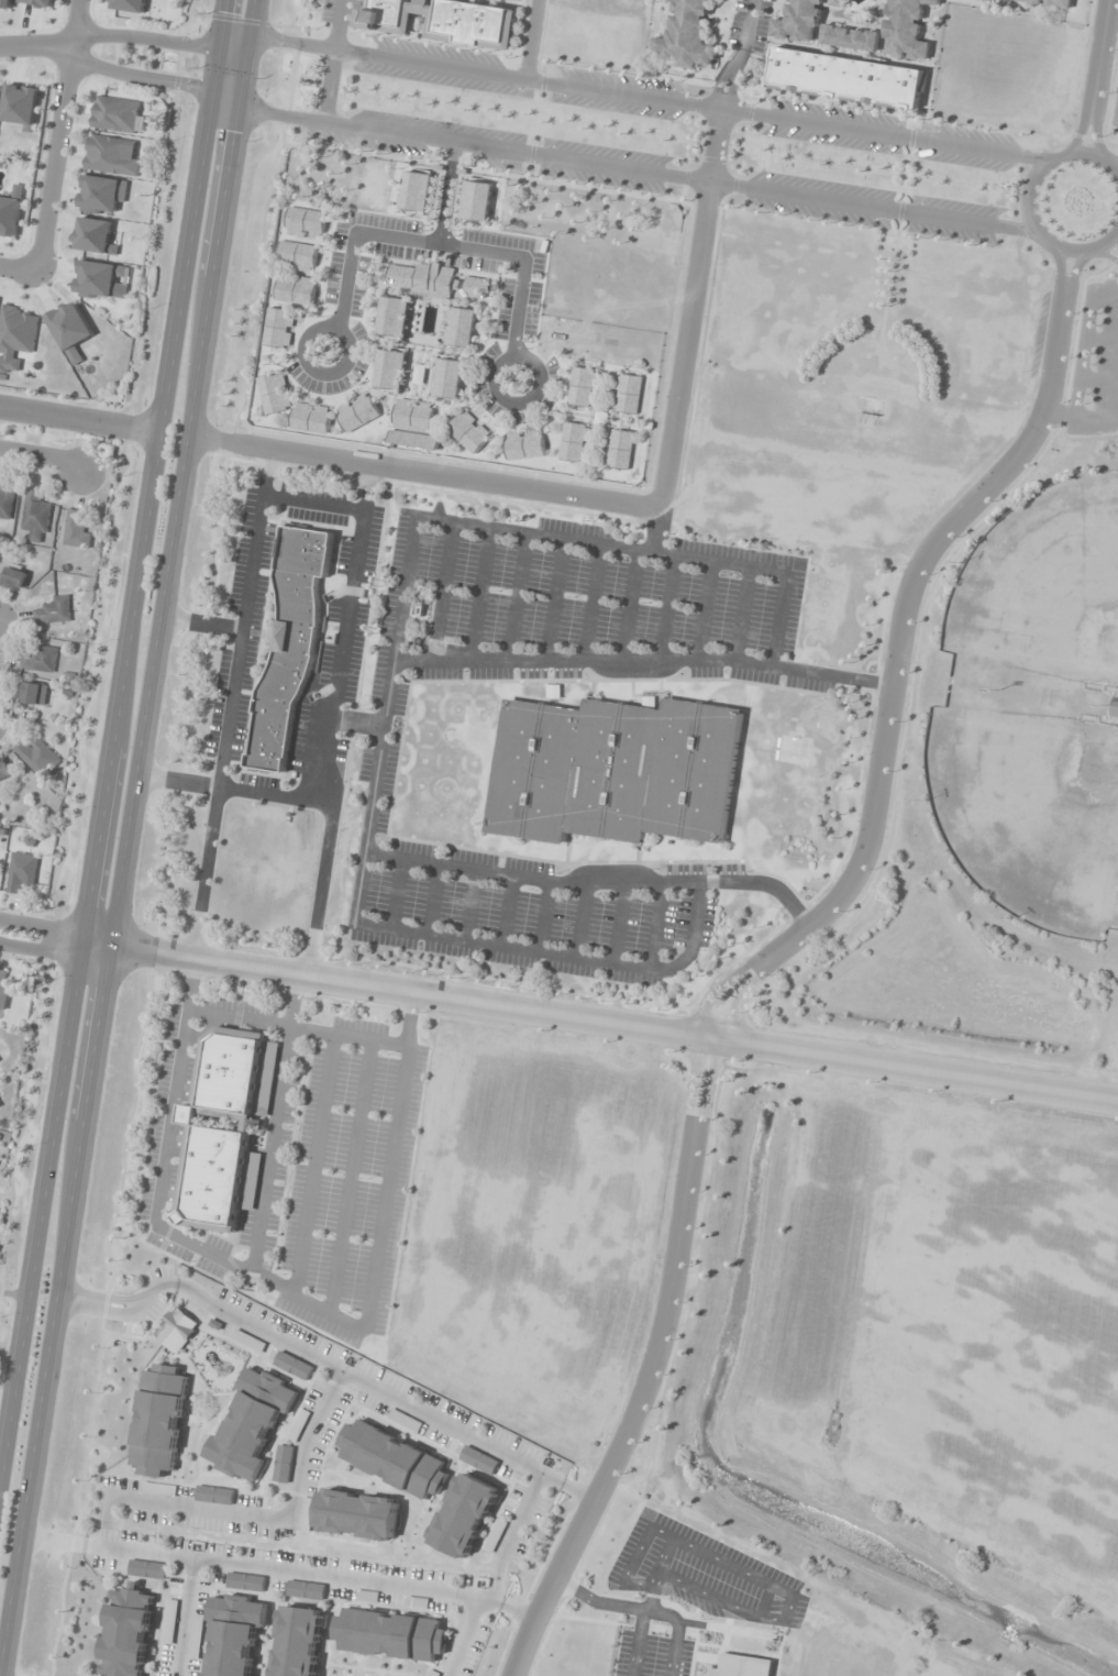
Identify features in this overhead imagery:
building: (989, 0)
building: (37, 2)
building: (1051, 3)
building: (5, 4)
building: (129, 5)
building: (447, 21)
building: (799, 22)
building: (907, 29)
building: (688, 35)
traffic signals: (247, 37)
road: (744, 37)
building: (851, 37)
road: (33, 48)
traffic signals: (222, 49)
road: (1099, 49)
building: (846, 78)
road: (556, 84)
road: (716, 89)
traffic signals: (215, 90)
road: (731, 91)
building: (20, 106)
parking lot: (1115, 107)
traffic signals: (236, 109)
building: (118, 115)
road: (1081, 125)
road: (1095, 130)
road: (55, 140)
building: (111, 156)
road: (547, 158)
park: (342, 180)
building: (413, 192)
building: (102, 195)
building: (474, 201)
road: (1027, 201)
building: (10, 213)
building: (302, 223)
building: (92, 235)
parking lot: (492, 240)
building: (296, 257)
parking lot: (474, 263)
road: (10, 268)
parking lot: (333, 269)
park: (595, 273)
road: (1062, 273)
road: (1072, 274)
building: (98, 278)
building: (432, 279)
building: (294, 289)
road: (519, 289)
parking lot: (530, 296)
parking lot: (501, 309)
road: (337, 310)
building: (391, 317)
building: (458, 327)
building: (276, 328)
building: (69, 329)
building: (16, 337)
parking lot: (485, 357)
parking lot: (1095, 365)
building: (386, 370)
building: (419, 374)
building: (445, 377)
building: (579, 386)
building: (273, 392)
building: (623, 392)
parking lot: (484, 398)
building: (355, 411)
building: (310, 418)
road: (79, 421)
building: (414, 422)
building: (466, 431)
building: (522, 443)
building: (574, 443)
building: (615, 448)
road: (43, 454)
building: (5, 503)
road: (619, 504)
building: (36, 517)
building: (77, 529)
building: (14, 576)
park: (1044, 585)
building: (53, 610)
building: (289, 646)
building: (40, 660)
building: (34, 694)
building: (1115, 708)
road: (115, 736)
building: (38, 758)
building: (4, 771)
building: (615, 771)
park: (1028, 812)
road: (125, 833)
building: (22, 871)
road: (73, 930)
road: (756, 966)
building: (1, 990)
road: (557, 1012)
building: (223, 1129)
road: (147, 1297)
building: (176, 1331)
building: (248, 1342)
building: (292, 1366)
road: (369, 1388)
building: (159, 1421)
building: (403, 1421)
building: (251, 1425)
building: (297, 1425)
building: (394, 1459)
building: (478, 1460)
building: (283, 1464)
building: (158, 1489)
building: (214, 1496)
building: (357, 1515)
building: (464, 1515)
road: (274, 1519)
building: (494, 1535)
road: (508, 1537)
building: (147, 1569)
road: (278, 1569)
building: (245, 1583)
building: (305, 1590)
building: (366, 1597)
building: (417, 1603)
road: (186, 1618)
building: (169, 1622)
building: (128, 1633)
building: (235, 1634)
building: (390, 1635)
building: (196, 1638)
road: (463, 1638)
building: (298, 1641)
building: (744, 1666)
building: (432, 1674)

